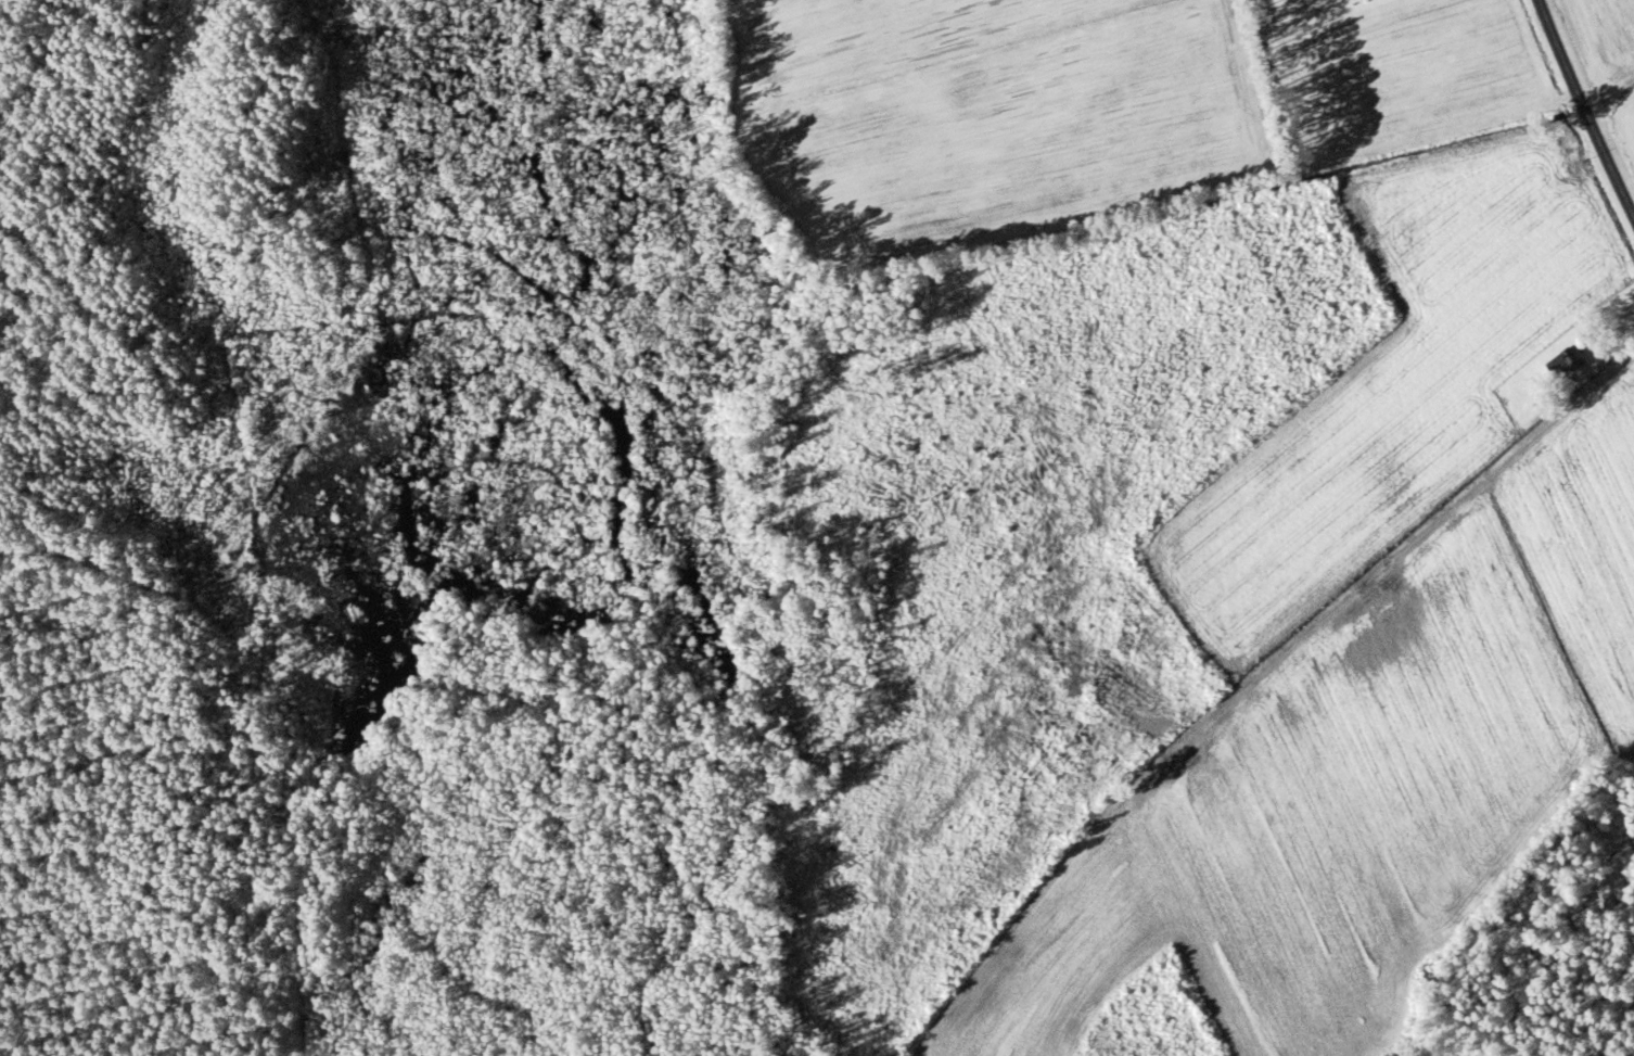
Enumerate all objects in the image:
road: (1581, 110)
building: (1561, 361)

